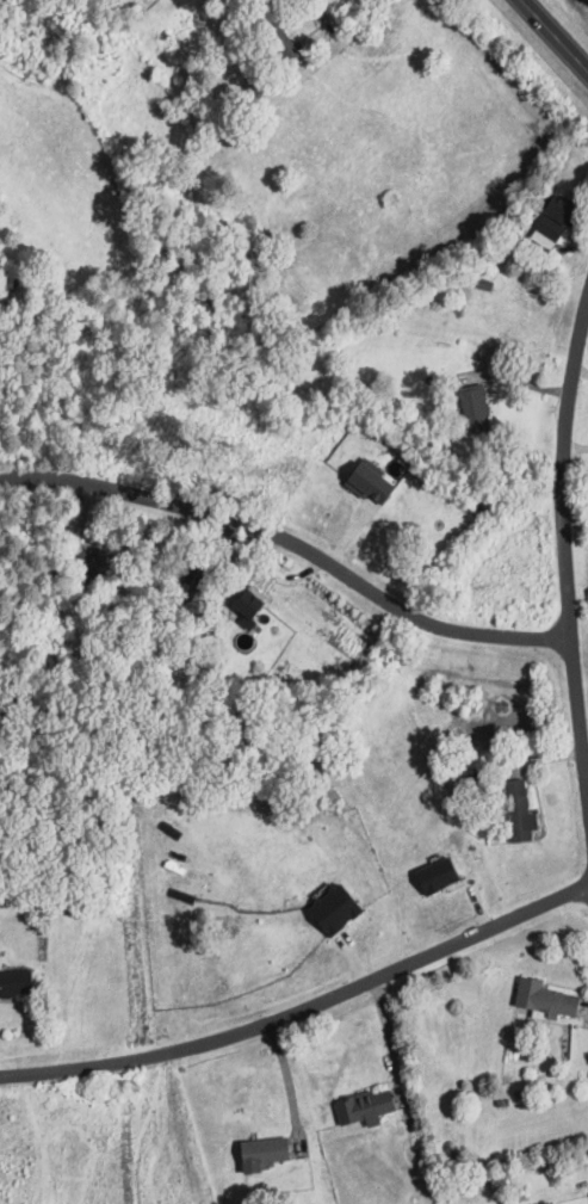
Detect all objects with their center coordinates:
road: (556, 33)
building: (568, 205)
building: (550, 233)
road: (581, 370)
road: (513, 379)
building: (478, 406)
road: (576, 447)
building: (375, 481)
road: (293, 542)
road: (564, 544)
building: (254, 605)
building: (525, 810)
building: (441, 875)
building: (341, 907)
building: (19, 982)
building: (550, 996)
road: (303, 1011)
road: (289, 1082)
building: (369, 1106)
building: (268, 1151)

